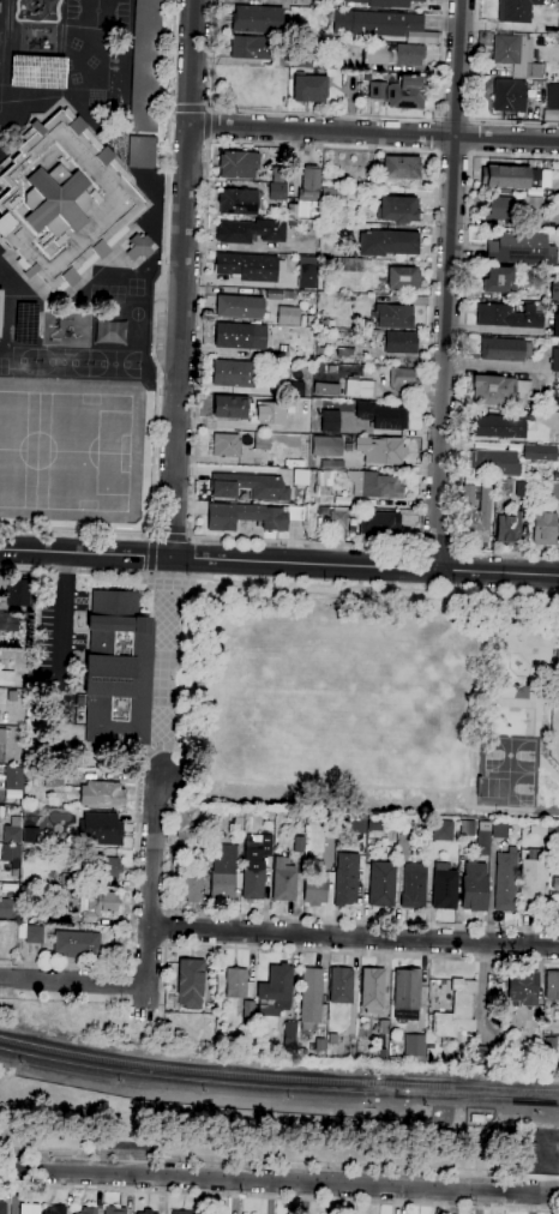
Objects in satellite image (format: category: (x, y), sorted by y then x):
building: (320, 2)
building: (385, 2)
building: (48, 4)
building: (516, 11)
park: (96, 13)
building: (257, 19)
building: (375, 23)
building: (558, 23)
building: (311, 24)
building: (252, 47)
road: (211, 54)
building: (392, 54)
building: (336, 55)
building: (516, 55)
building: (302, 59)
building: (145, 65)
building: (36, 72)
building: (309, 88)
building: (399, 92)
building: (509, 96)
building: (553, 97)
road: (473, 102)
road: (174, 108)
road: (191, 108)
road: (191, 108)
road: (206, 108)
road: (209, 110)
building: (558, 115)
road: (383, 116)
road: (208, 125)
road: (208, 126)
road: (374, 131)
road: (437, 136)
road: (475, 137)
road: (187, 138)
road: (208, 140)
building: (140, 151)
road: (452, 160)
building: (238, 164)
building: (401, 168)
building: (277, 174)
building: (505, 176)
building: (277, 192)
building: (305, 194)
building: (330, 197)
building: (64, 202)
building: (238, 202)
building: (531, 204)
building: (500, 208)
building: (398, 209)
road: (203, 224)
building: (250, 232)
building: (384, 244)
building: (139, 247)
building: (521, 248)
building: (351, 264)
building: (247, 266)
road: (162, 268)
building: (306, 276)
road: (184, 278)
building: (402, 278)
building: (499, 281)
road: (447, 284)
building: (554, 292)
building: (279, 294)
building: (0, 305)
building: (239, 307)
building: (288, 315)
building: (509, 315)
building: (393, 317)
building: (240, 336)
building: (399, 342)
building: (558, 343)
building: (504, 349)
building: (319, 351)
building: (344, 353)
park: (22, 359)
building: (555, 360)
park: (62, 361)
road: (461, 361)
park: (114, 363)
building: (233, 373)
building: (402, 378)
building: (359, 387)
building: (293, 389)
building: (325, 389)
building: (500, 390)
building: (555, 404)
building: (250, 410)
building: (383, 415)
building: (327, 420)
building: (498, 427)
building: (262, 441)
building: (226, 445)
building: (326, 445)
park: (65, 449)
building: (380, 450)
building: (539, 452)
building: (494, 462)
road: (422, 464)
building: (331, 465)
building: (323, 482)
building: (375, 485)
building: (247, 486)
building: (323, 510)
building: (475, 515)
building: (251, 516)
building: (337, 519)
building: (379, 524)
building: (507, 528)
building: (543, 529)
road: (74, 534)
road: (152, 537)
road: (170, 537)
road: (150, 539)
road: (188, 539)
road: (435, 543)
road: (149, 555)
road: (279, 561)
road: (417, 569)
road: (457, 571)
road: (148, 573)
road: (278, 583)
building: (17, 593)
road: (64, 613)
building: (8, 623)
building: (557, 660)
road: (164, 665)
building: (118, 671)
building: (6, 679)
park: (368, 702)
building: (2, 735)
park: (509, 756)
building: (12, 779)
building: (54, 780)
park: (493, 787)
park: (521, 788)
building: (102, 794)
building: (238, 819)
building: (186, 821)
building: (377, 823)
building: (355, 824)
building: (102, 829)
building: (440, 829)
building: (499, 831)
building: (12, 835)
building: (482, 837)
building: (299, 843)
building: (265, 846)
building: (402, 847)
building: (11, 854)
building: (205, 861)
building: (98, 866)
building: (224, 873)
road: (151, 878)
building: (64, 879)
building: (283, 879)
building: (345, 879)
building: (505, 881)
building: (252, 883)
building: (531, 883)
building: (381, 884)
building: (190, 885)
building: (315, 885)
building: (413, 885)
building: (444, 887)
building: (474, 887)
building: (98, 903)
building: (6, 908)
building: (553, 913)
road: (265, 916)
road: (132, 918)
building: (60, 919)
road: (167, 927)
building: (32, 933)
road: (353, 937)
building: (77, 944)
road: (323, 950)
road: (72, 981)
building: (190, 981)
building: (238, 984)
building: (341, 985)
building: (552, 985)
building: (522, 988)
building: (275, 990)
building: (372, 990)
building: (405, 993)
building: (311, 998)
building: (456, 1010)
building: (248, 1011)
building: (289, 1029)
building: (380, 1035)
building: (332, 1038)
building: (319, 1045)
building: (429, 1045)
building: (549, 1045)
building: (411, 1050)
building: (302, 1052)
building: (482, 1053)
railway: (277, 1076)
railway: (208, 1082)
railway: (488, 1095)
railway: (488, 1100)
building: (475, 1118)
park: (240, 1131)
road: (279, 1162)
road: (279, 1180)
road: (279, 1196)
building: (2, 1207)
building: (29, 1209)
building: (55, 1210)
building: (85, 1210)
building: (114, 1210)
building: (145, 1212)
building: (182, 1212)

